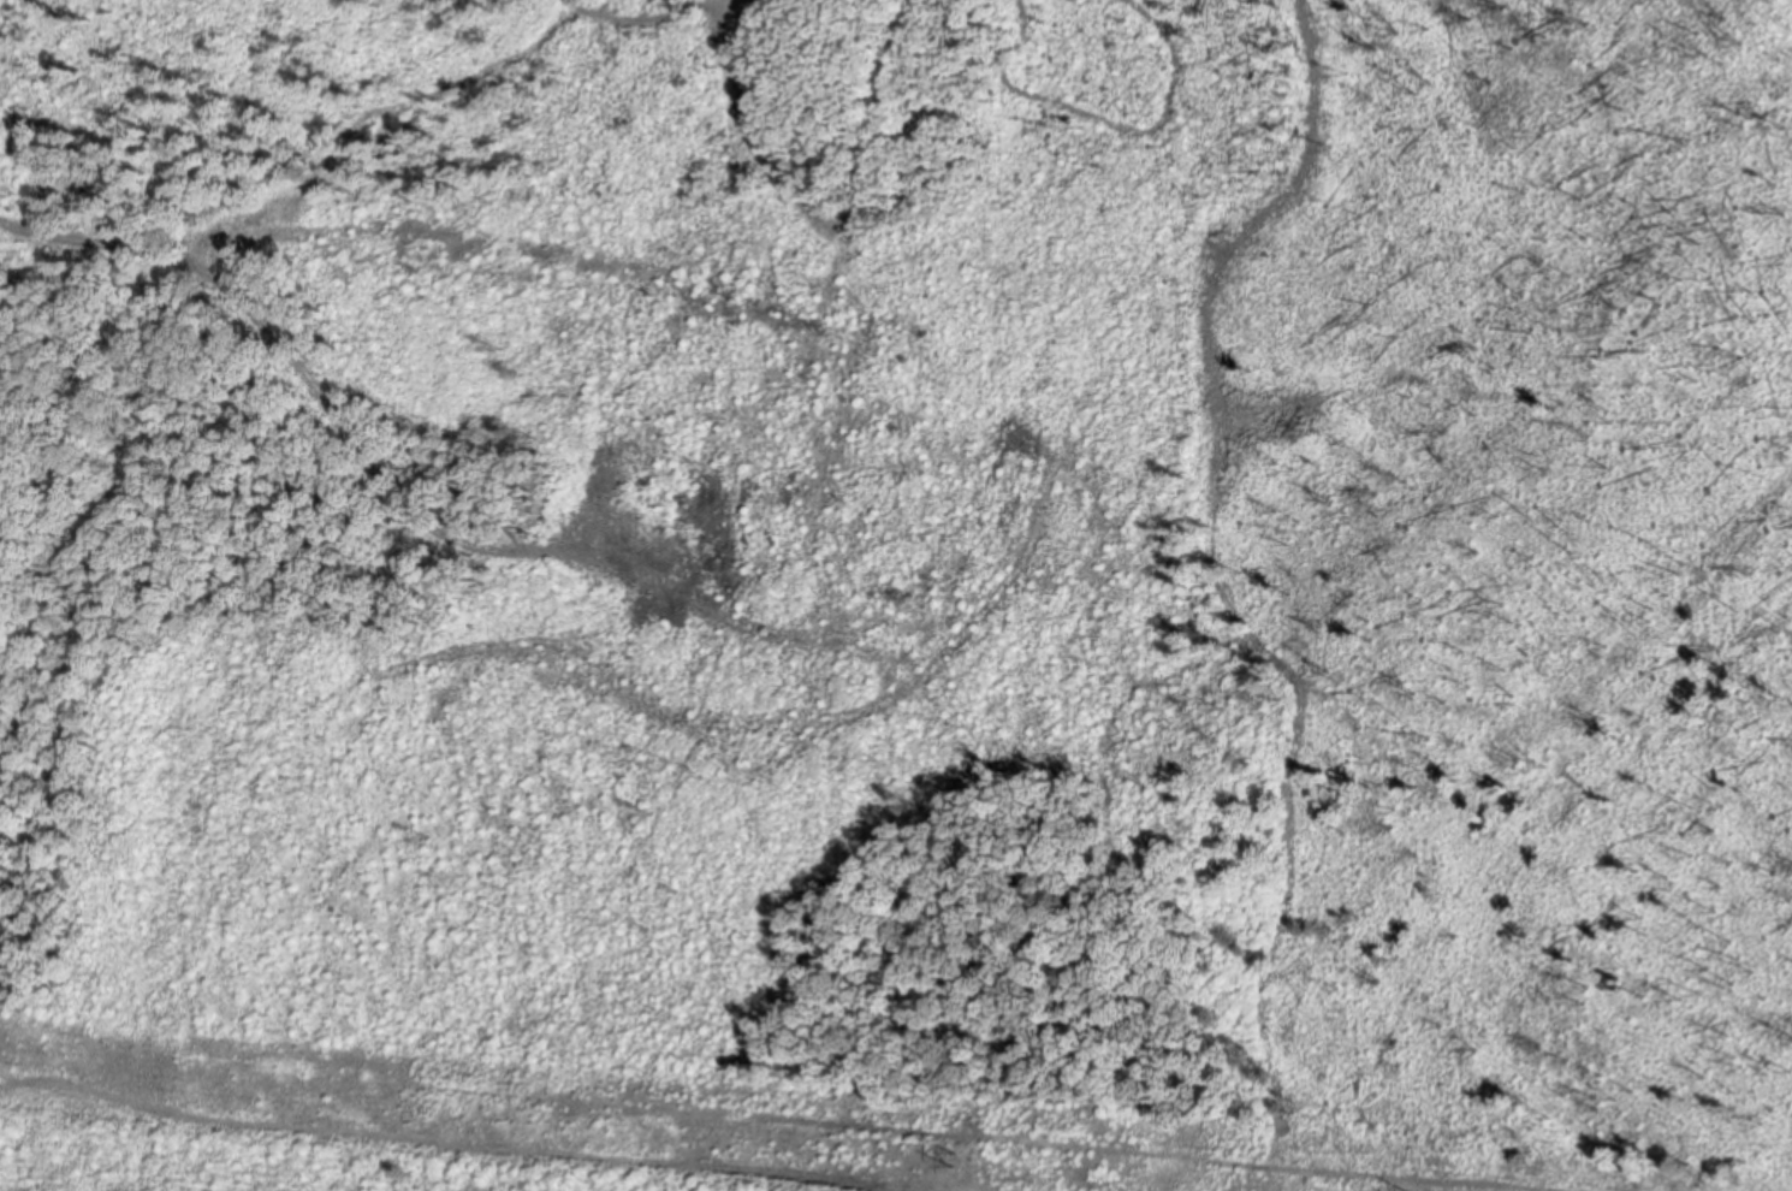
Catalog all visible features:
power tower: (981, 1163)

